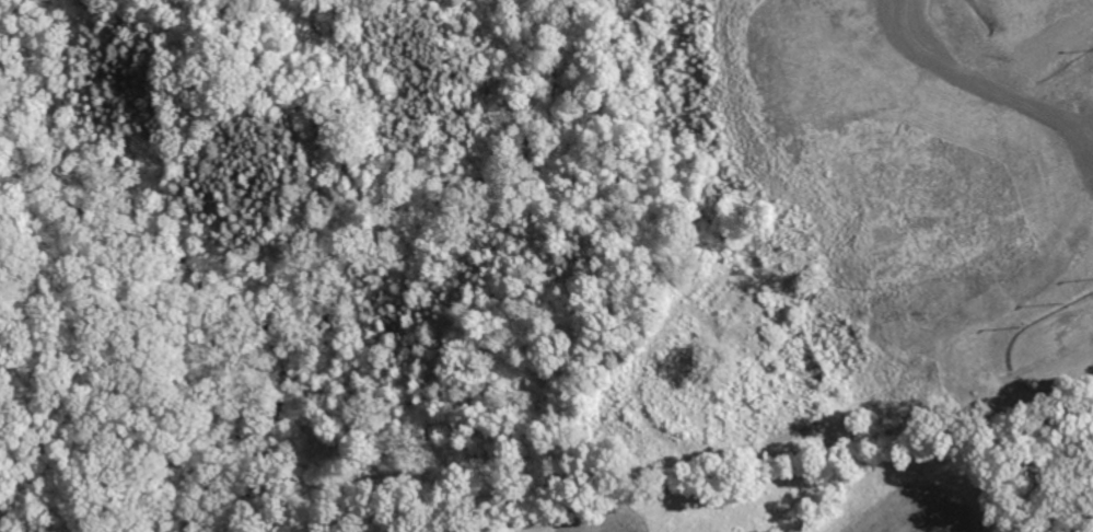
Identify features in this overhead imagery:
road: (984, 84)

